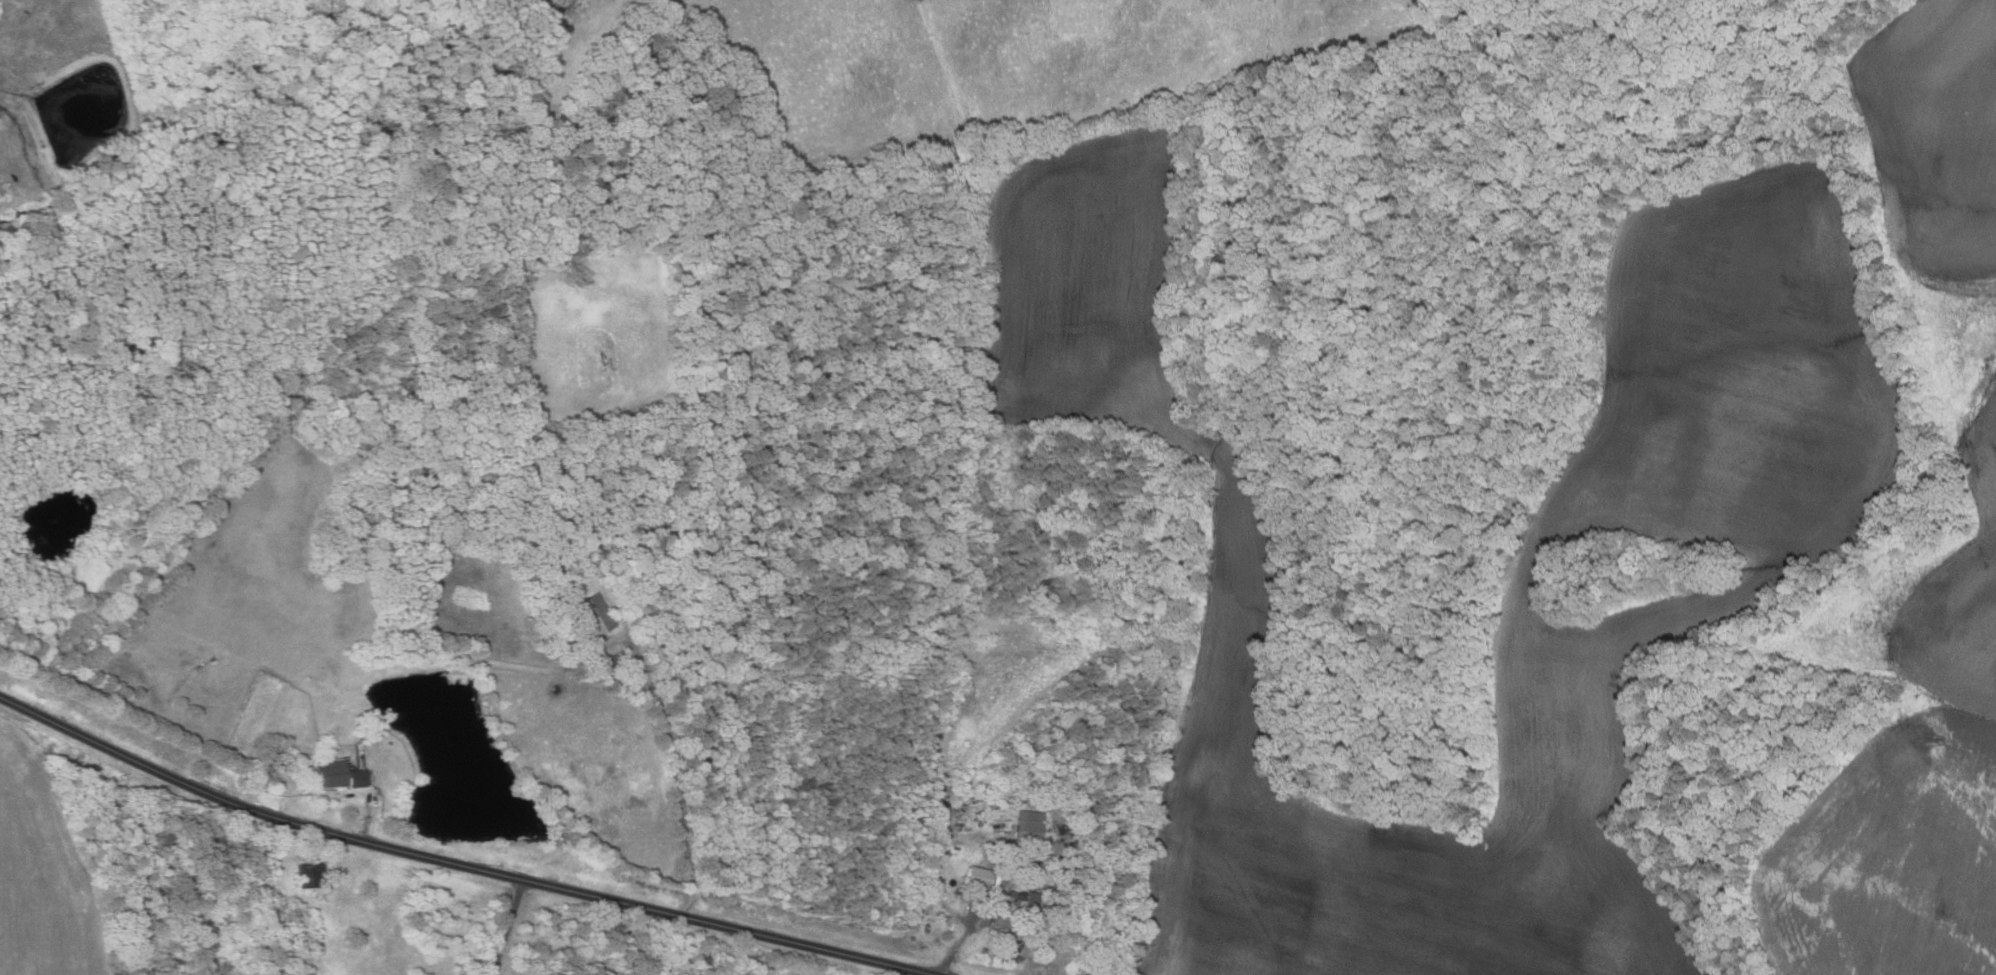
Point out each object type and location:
crop: (1932, 347)
crop: (1795, 552)
building: (592, 615)
building: (671, 648)
building: (619, 663)
building: (356, 729)
building: (389, 743)
building: (358, 746)
building: (232, 753)
building: (306, 761)
building: (331, 773)
building: (356, 778)
road: (677, 793)
road: (366, 819)
building: (1029, 828)
crop: (1891, 857)
road: (457, 862)
building: (1009, 864)
crop: (41, 869)
building: (310, 875)
building: (978, 877)
building: (997, 881)
building: (1020, 895)
building: (1032, 900)
building: (1004, 905)
road: (505, 926)
road: (962, 938)

